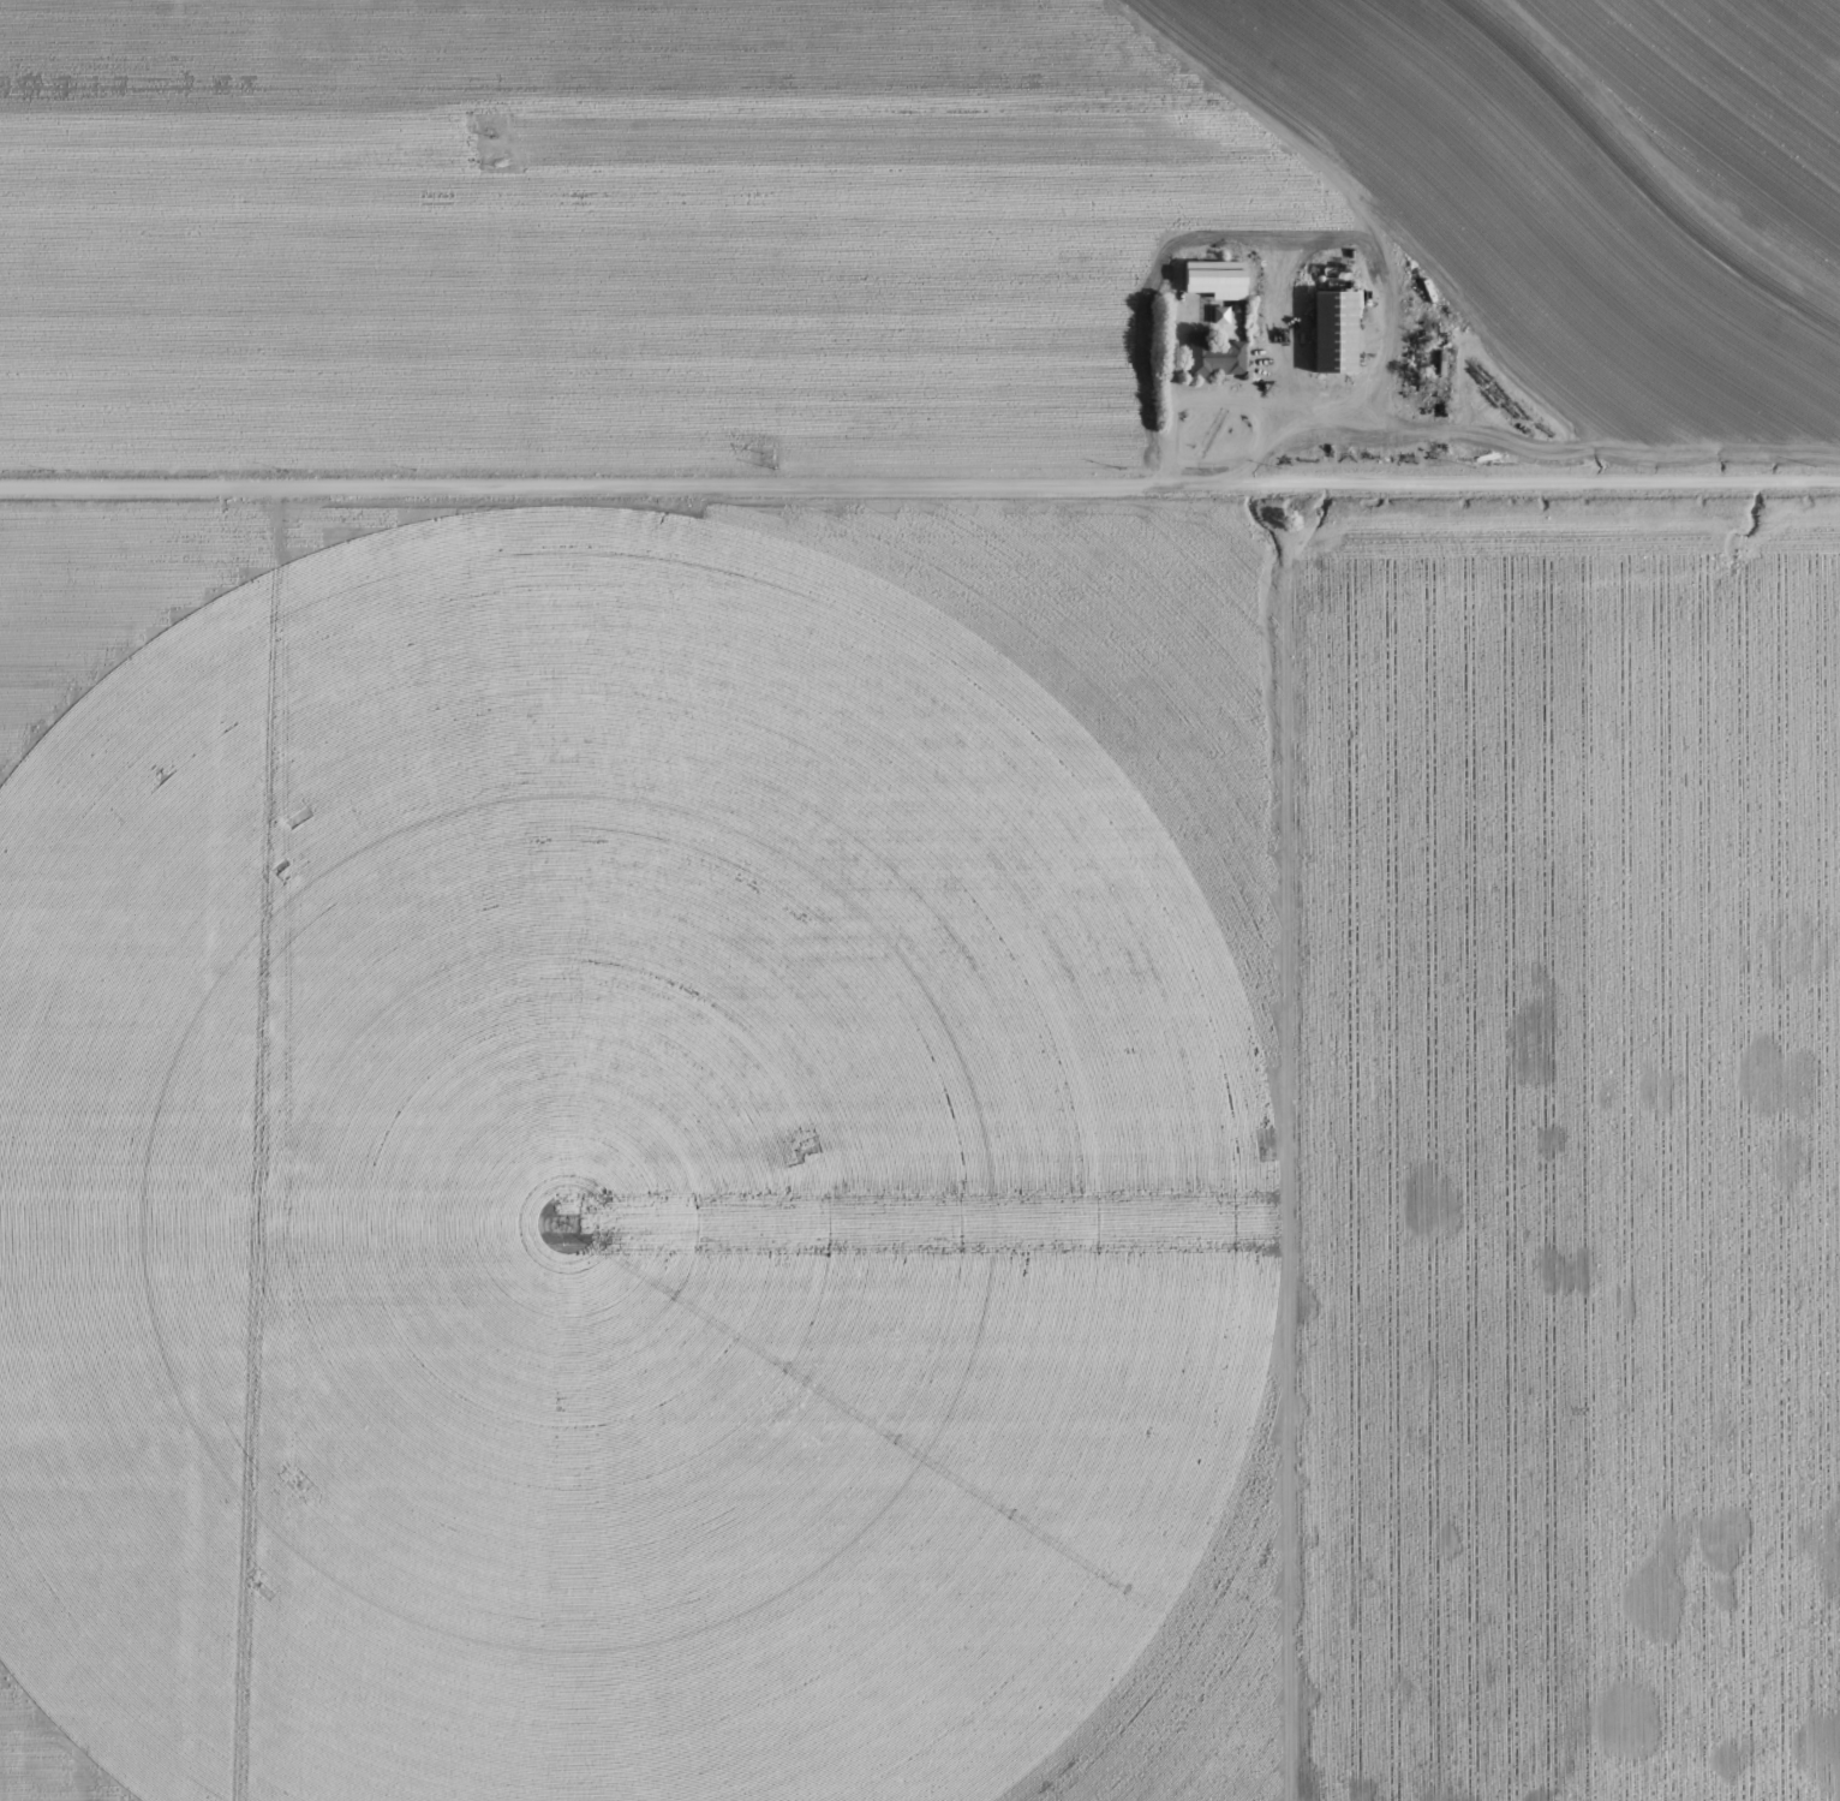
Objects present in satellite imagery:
building: (1218, 278)
building: (1336, 330)
building: (1206, 357)
road: (1208, 398)
road: (920, 484)

